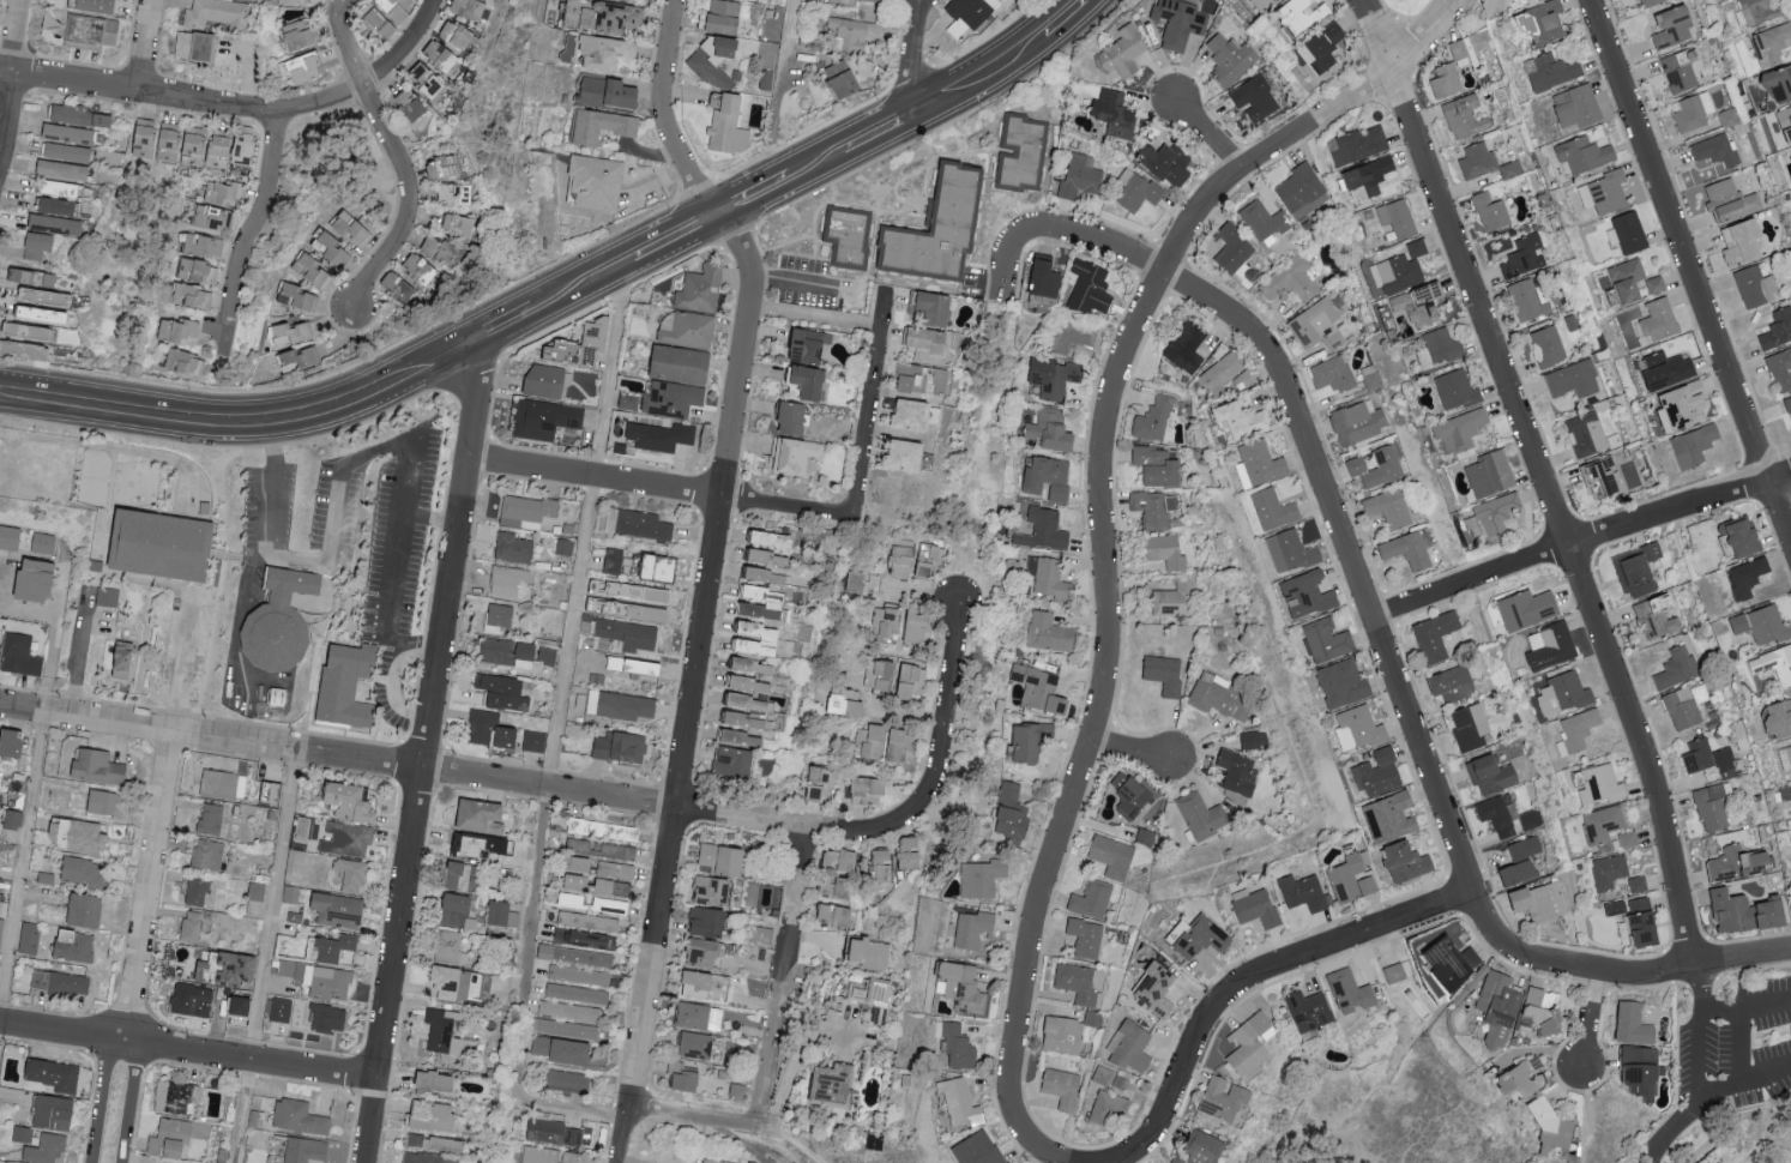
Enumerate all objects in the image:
building: (872, 0)
building: (1521, 0)
building: (310, 2)
building: (1645, 2)
building: (1265, 4)
building: (95, 5)
building: (397, 10)
building: (469, 10)
building: (1759, 10)
building: (218, 14)
building: (971, 14)
building: (1304, 14)
building: (617, 17)
building: (726, 17)
road: (1065, 18)
building: (382, 22)
building: (1537, 22)
building: (1180, 23)
building: (1669, 25)
building: (82, 30)
building: (852, 32)
building: (302, 35)
building: (456, 35)
road: (1422, 35)
road: (669, 43)
building: (1769, 43)
road: (144, 44)
building: (1327, 46)
building: (197, 47)
building: (730, 47)
building: (1455, 49)
building: (607, 52)
building: (1124, 52)
road: (912, 55)
building: (440, 56)
building: (1231, 59)
building: (303, 67)
road: (8, 70)
building: (1677, 71)
building: (712, 72)
building: (1549, 72)
road: (982, 76)
road: (68, 78)
building: (844, 79)
building: (1442, 80)
building: (426, 82)
building: (1775, 83)
building: (610, 92)
road: (777, 94)
building: (1255, 98)
building: (412, 104)
building: (1573, 106)
road: (309, 107)
building: (1689, 112)
building: (1116, 113)
building: (82, 115)
building: (1461, 116)
building: (602, 125)
building: (1783, 126)
building: (729, 127)
road: (880, 131)
road: (1210, 134)
building: (171, 141)
building: (70, 143)
building: (1353, 145)
building: (195, 146)
building: (234, 149)
building: (1790, 149)
building: (1023, 150)
building: (1713, 150)
road: (1261, 152)
building: (1579, 153)
road: (392, 155)
road: (680, 157)
building: (1169, 162)
building: (1482, 162)
road: (816, 165)
building: (445, 167)
building: (65, 170)
building: (1362, 175)
building: (1080, 176)
building: (599, 181)
building: (1139, 191)
building: (1298, 191)
building: (224, 192)
building: (1600, 192)
building: (454, 193)
road: (753, 199)
building: (1726, 200)
building: (59, 206)
building: (1488, 211)
building: (213, 217)
building: (1394, 218)
building: (1260, 221)
building: (58, 225)
road: (255, 225)
building: (458, 225)
building: (943, 227)
building: (356, 228)
road: (1060, 231)
building: (1627, 231)
building: (848, 236)
road: (675, 239)
building: (1735, 241)
building: (41, 245)
building: (205, 245)
building: (334, 247)
building: (1229, 248)
building: (1413, 248)
building: (440, 252)
building: (1521, 257)
building: (314, 269)
building: (418, 269)
road: (1690, 270)
building: (200, 271)
building: (1395, 272)
building: (34, 277)
building: (1048, 278)
building: (1622, 278)
building: (1292, 279)
road: (583, 284)
building: (1092, 284)
building: (1652, 284)
building: (1751, 284)
road: (792, 285)
building: (399, 288)
building: (701, 289)
building: (50, 296)
building: (194, 296)
building: (297, 296)
building: (1525, 300)
building: (1415, 303)
building: (934, 307)
building: (46, 314)
building: (1656, 320)
road: (814, 321)
road: (508, 323)
building: (1315, 325)
building: (688, 329)
building: (1775, 329)
building: (177, 330)
building: (295, 331)
building: (32, 332)
building: (1075, 335)
building: (598, 343)
building: (929, 344)
building: (1437, 344)
building: (812, 347)
building: (1181, 347)
building: (1544, 347)
building: (25, 350)
building: (567, 351)
building: (186, 362)
building: (683, 364)
building: (1779, 369)
building: (1662, 370)
building: (1327, 373)
building: (1222, 375)
building: (1054, 376)
building: (925, 379)
building: (1569, 380)
building: (547, 381)
building: (814, 382)
building: (1452, 390)
building: (674, 399)
building: (628, 402)
road: (872, 402)
building: (1678, 405)
building: (1787, 408)
building: (915, 415)
road: (249, 417)
building: (792, 417)
building: (547, 420)
building: (1151, 420)
building: (1234, 420)
building: (1353, 422)
building: (1053, 430)
building: (1457, 430)
building: (1582, 434)
building: (661, 436)
building: (1689, 446)
building: (796, 454)
building: (910, 456)
building: (1255, 464)
building: (1352, 465)
building: (1152, 466)
building: (1381, 468)
road: (340, 472)
building: (1485, 474)
building: (1598, 477)
building: (1049, 478)
road: (661, 486)
road: (1549, 496)
building: (1151, 508)
building: (1270, 508)
building: (1386, 508)
parking lot: (270, 512)
building: (527, 512)
parking lot: (339, 516)
road: (430, 520)
building: (644, 525)
building: (1045, 530)
building: (11, 537)
building: (1735, 537)
parking lot: (399, 540)
building: (772, 540)
road: (1580, 540)
building: (43, 543)
building: (164, 546)
building: (566, 547)
building: (514, 548)
building: (1404, 550)
building: (1162, 552)
building: (1283, 552)
road: (1351, 558)
building: (613, 561)
building: (930, 561)
building: (901, 562)
building: (661, 567)
building: (770, 567)
building: (1633, 568)
building: (1743, 577)
building: (1049, 578)
building: (38, 580)
building: (508, 580)
building: (864, 583)
building: (762, 593)
building: (1301, 595)
building: (108, 597)
building: (1172, 599)
building: (631, 601)
building: (1521, 609)
building: (760, 611)
building: (1653, 615)
building: (904, 623)
building: (283, 625)
building: (1759, 625)
road: (569, 633)
building: (627, 633)
building: (1049, 633)
road: (235, 634)
building: (1431, 635)
building: (0, 638)
building: (1323, 640)
building: (1546, 646)
road: (76, 653)
parking lot: (185, 653)
building: (517, 653)
building: (20, 656)
building: (123, 659)
building: (1772, 664)
building: (646, 667)
building: (1674, 668)
road: (185, 670)
building: (873, 673)
building: (1160, 674)
building: (887, 675)
building: (913, 681)
building: (750, 683)
building: (1337, 683)
road: (391, 685)
building: (1447, 685)
road: (700, 687)
building: (350, 688)
building: (1041, 689)
building: (503, 692)
building: (1558, 694)
building: (1217, 698)
building: (622, 705)
building: (846, 706)
road: (1102, 709)
building: (1680, 709)
building: (749, 711)
road: (905, 717)
road: (943, 718)
building: (1775, 719)
building: (483, 727)
building: (1466, 727)
building: (1353, 728)
building: (1574, 731)
road: (210, 736)
building: (509, 737)
building: (743, 739)
building: (1250, 740)
building: (535, 741)
building: (872, 741)
building: (1033, 742)
building: (16, 743)
building: (621, 747)
building: (903, 747)
road: (426, 749)
road: (1132, 751)
building: (1703, 757)
building: (1784, 758)
building: (735, 763)
building: (99, 767)
building: (1232, 772)
building: (1374, 773)
building: (1488, 775)
building: (822, 784)
building: (224, 785)
building: (1598, 785)
building: (870, 791)
building: (1124, 795)
road: (615, 796)
building: (104, 802)
building: (355, 803)
building: (1709, 807)
building: (1012, 812)
building: (1198, 815)
building: (1492, 815)
building: (483, 816)
building: (1386, 816)
building: (211, 819)
building: (1528, 819)
building: (1599, 825)
building: (603, 828)
road: (854, 836)
building: (84, 837)
building: (349, 838)
building: (1626, 839)
building: (466, 848)
building: (907, 852)
building: (595, 854)
building: (207, 855)
building: (1105, 856)
building: (725, 860)
building: (839, 860)
building: (1399, 861)
building: (1516, 862)
road: (19, 864)
building: (1737, 864)
building: (880, 866)
building: (615, 869)
building: (83, 872)
building: (1605, 872)
building: (351, 875)
building: (463, 876)
building: (1350, 878)
building: (983, 879)
building: (1634, 884)
road: (149, 885)
building: (599, 885)
building: (837, 886)
building: (198, 891)
building: (713, 892)
building: (1298, 892)
building: (1089, 899)
building: (1536, 902)
building: (592, 903)
building: (4, 906)
building: (1250, 906)
building: (1611, 908)
building: (85, 910)
building: (339, 911)
building: (459, 911)
building: (500, 912)
building: (1738, 912)
building: (836, 915)
building: (587, 921)
building: (710, 922)
building: (1635, 923)
building: (195, 928)
building: (970, 929)
building: (1, 932)
building: (1083, 938)
building: (1194, 938)
building: (29, 939)
building: (584, 939)
building: (74, 946)
building: (334, 947)
building: (450, 947)
building: (707, 953)
building: (872, 954)
road: (267, 956)
building: (583, 957)
building: (1442, 963)
building: (229, 969)
building: (1391, 972)
building: (578, 975)
road: (1254, 976)
road: (783, 977)
road: (1614, 977)
building: (320, 980)
building: (61, 983)
building: (460, 984)
building: (706, 986)
building: (963, 988)
building: (1147, 989)
building: (1346, 992)
building: (577, 994)
building: (867, 998)
building: (193, 1001)
building: (240, 1006)
road: (1745, 1007)
building: (1494, 1008)
building: (1302, 1010)
building: (282, 1011)
building: (569, 1011)
building: (1537, 1011)
building: (701, 1017)
building: (328, 1019)
road: (1592, 1024)
building: (1627, 1024)
building: (444, 1031)
building: (1059, 1035)
building: (696, 1046)
building: (958, 1046)
road: (187, 1048)
building: (1126, 1048)
building: (563, 1051)
road: (95, 1062)
road: (1735, 1067)
building: (1635, 1069)
building: (55, 1074)
road: (1762, 1075)
building: (440, 1079)
building: (1513, 1080)
building: (566, 1081)
building: (687, 1081)
building: (834, 1084)
building: (738, 1090)
building: (1060, 1090)
road: (1697, 1092)
building: (176, 1096)
road: (102, 1097)
road: (129, 1099)
building: (1103, 1099)
building: (1217, 1099)
road: (524, 1102)
building: (960, 1102)
park: (907, 1107)
building: (54, 1111)
building: (435, 1115)
building: (300, 1116)
road: (695, 1116)
park: (1393, 1123)
building: (554, 1132)
building: (1548, 1132)
building: (23, 1134)
building: (175, 1137)
road: (792, 1141)
building: (438, 1143)
building: (46, 1149)
building: (979, 1149)
building: (1192, 1149)
building: (306, 1150)
building: (541, 1155)
road: (1047, 1155)
road: (691, 1157)
building: (428, 1158)
building: (717, 1161)
road: (631, 1162)

